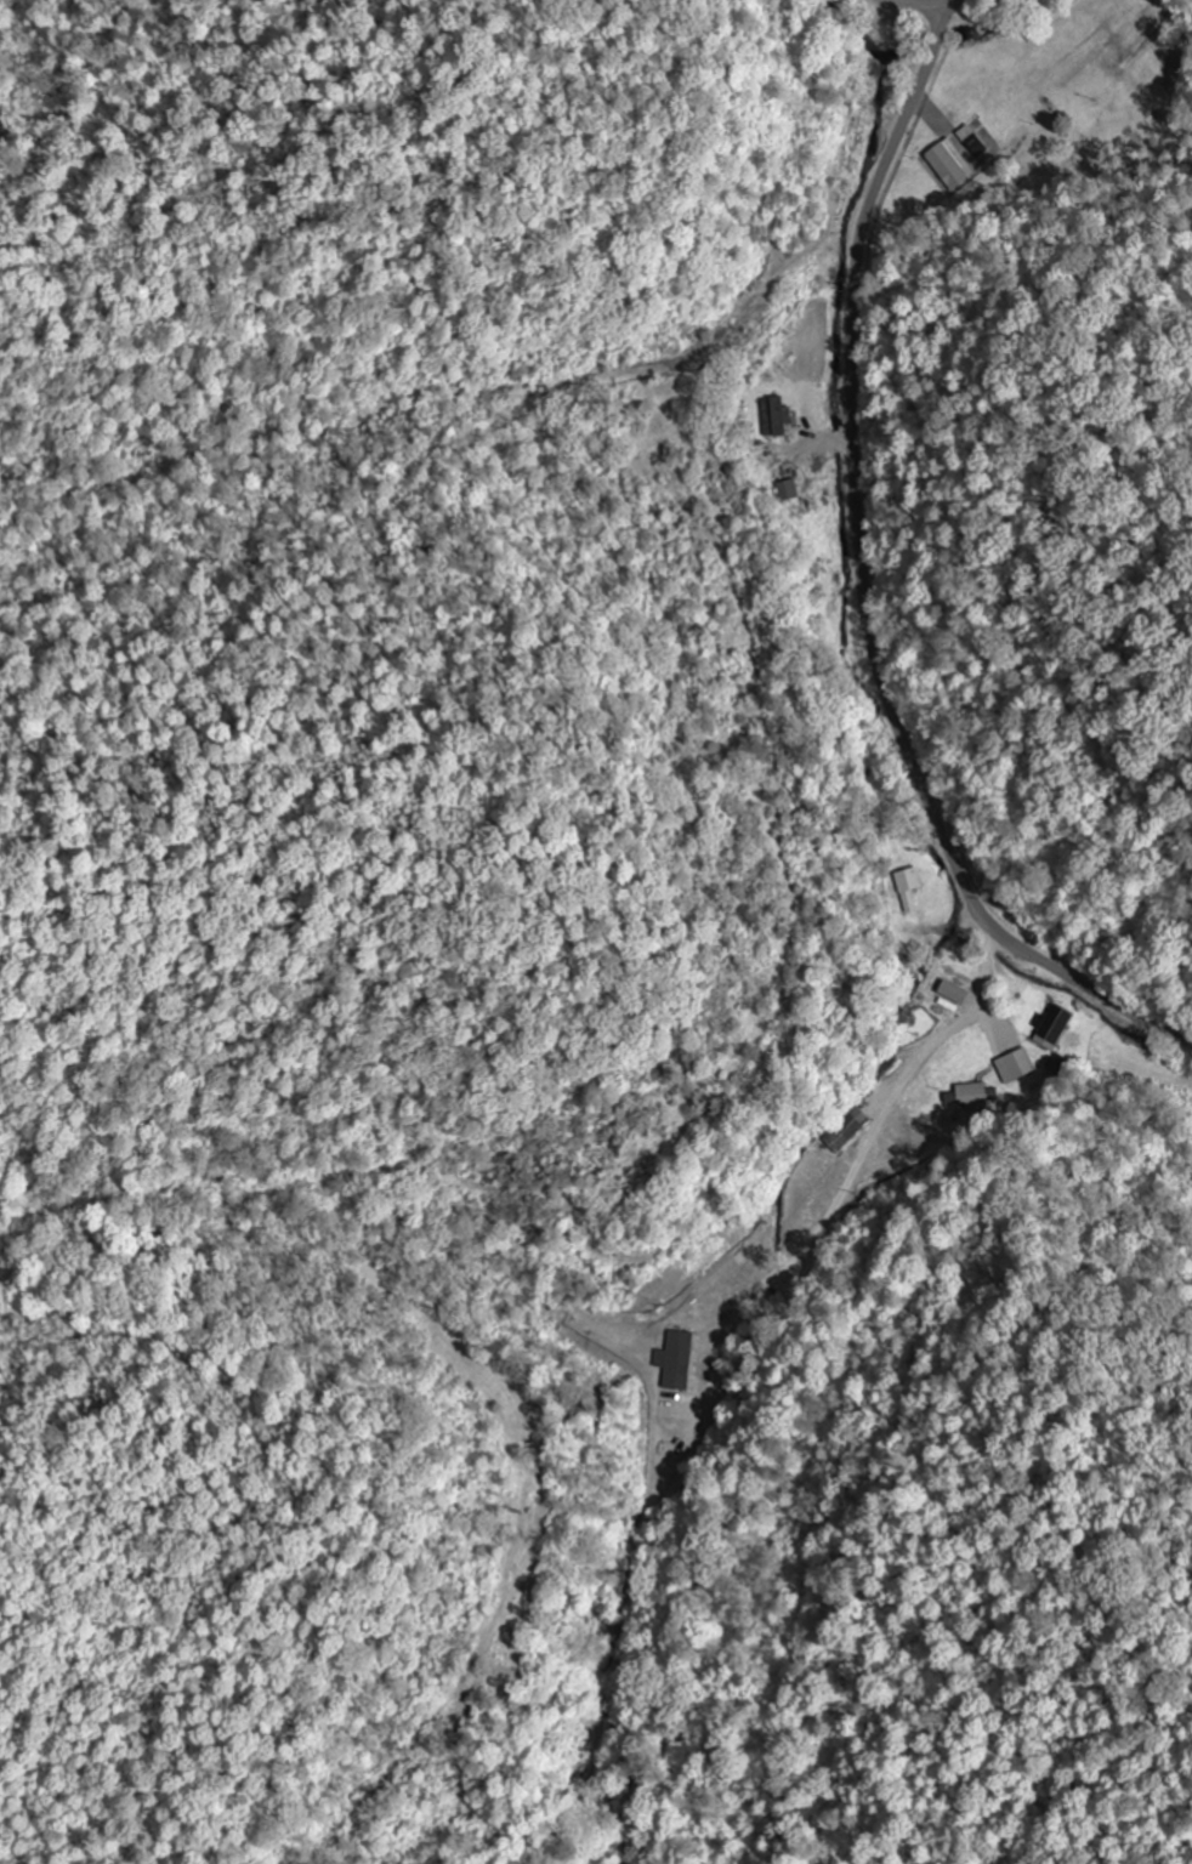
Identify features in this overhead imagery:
road: (914, 2)
building: (948, 165)
building: (788, 490)
road: (862, 587)
building: (907, 881)
building: (1051, 1028)
building: (1014, 1067)
building: (971, 1097)
building: (677, 1345)
road: (737, 1370)

